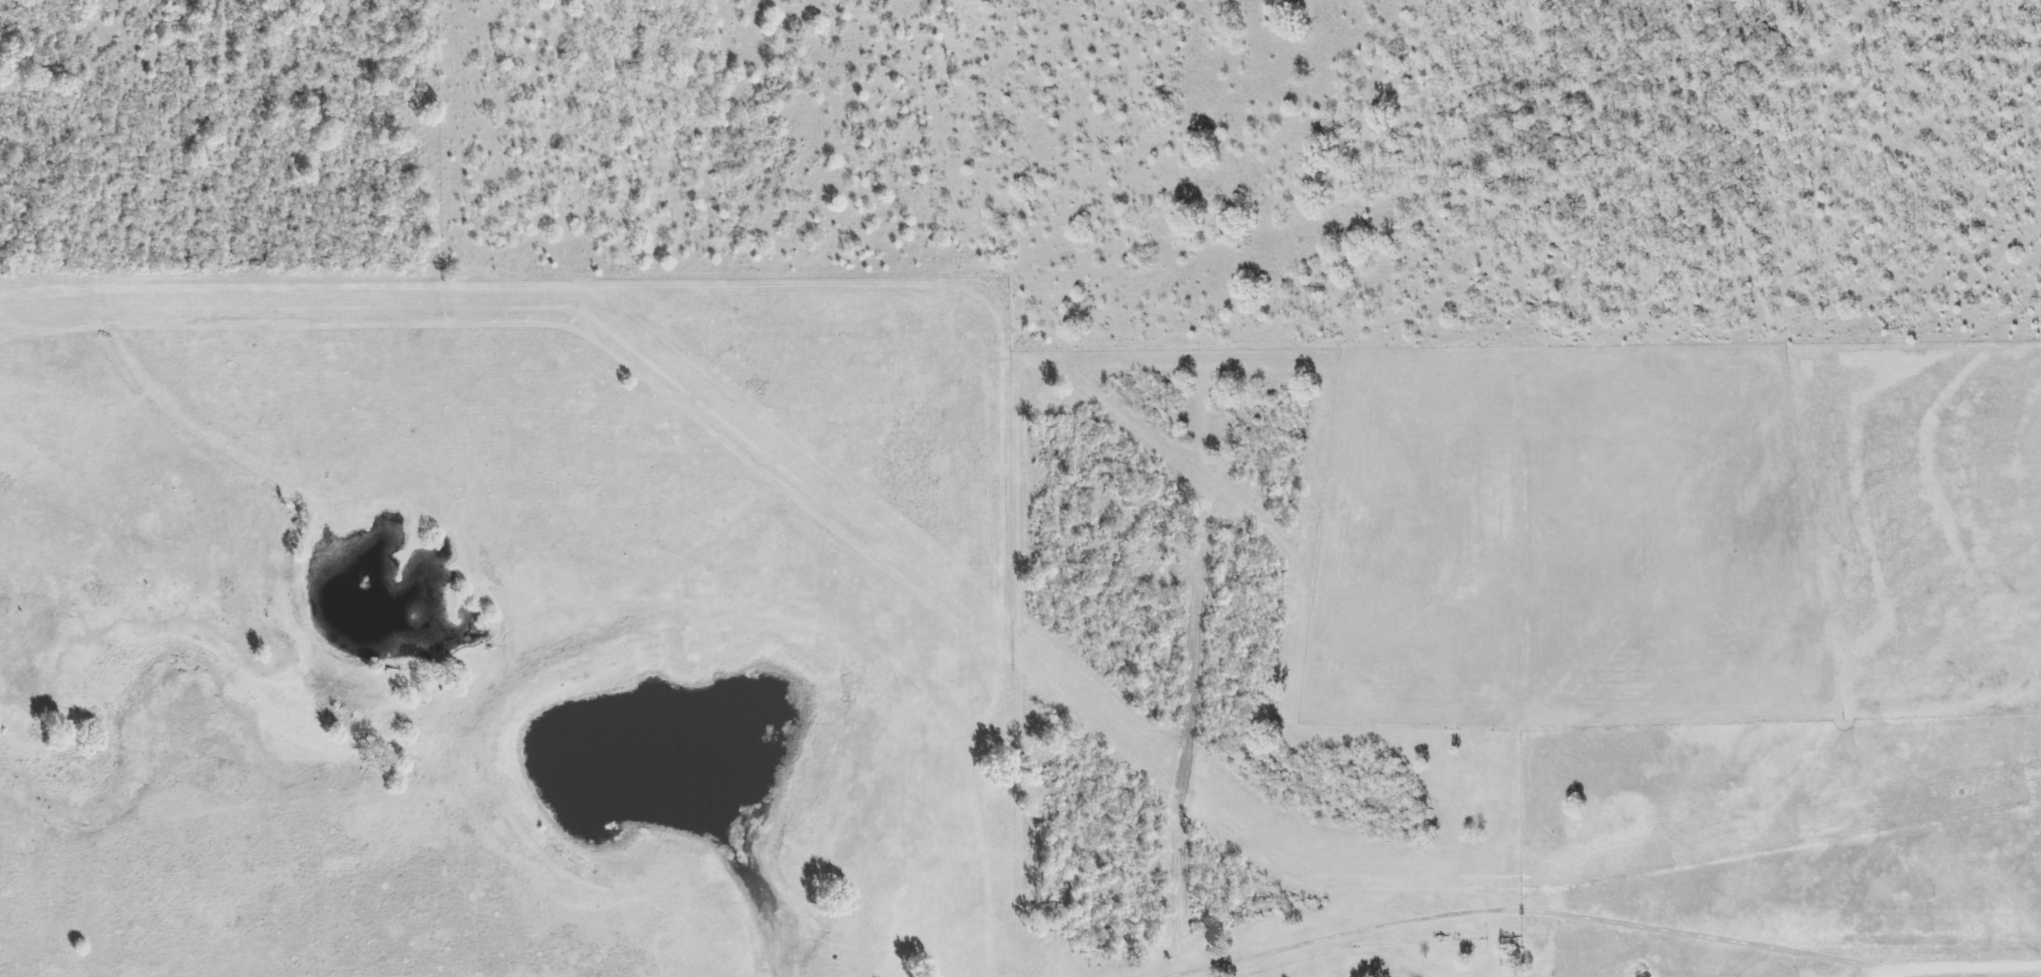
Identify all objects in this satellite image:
road: (1955, 966)

